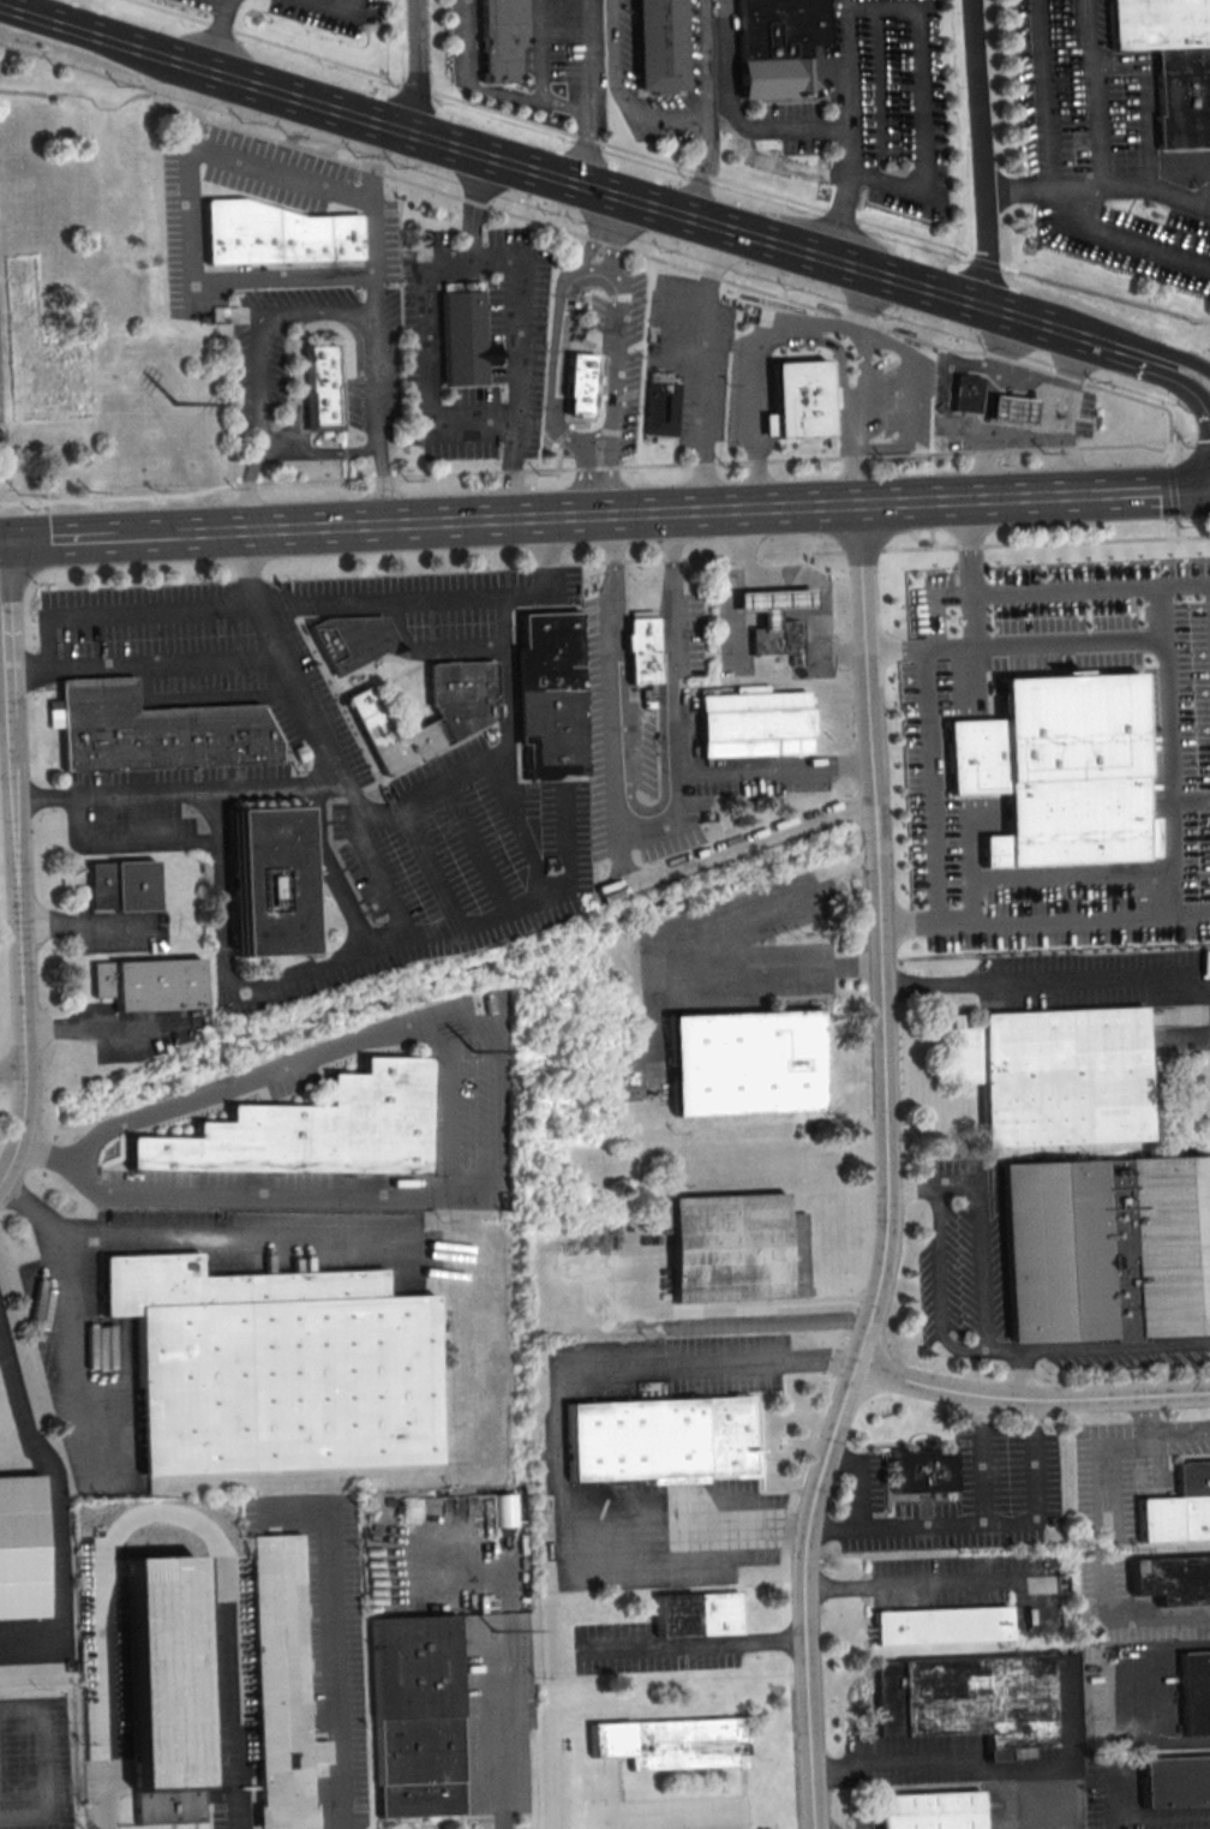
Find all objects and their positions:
road: (214, 0)
road: (343, 6)
parking lot: (328, 12)
building: (1161, 24)
road: (214, 34)
road: (101, 35)
building: (498, 38)
parking lot: (696, 41)
building: (657, 46)
building: (777, 47)
road: (538, 49)
road: (703, 58)
road: (415, 67)
road: (487, 86)
parking lot: (841, 90)
road: (586, 92)
road: (1098, 92)
road: (621, 95)
road: (1145, 100)
road: (193, 104)
road: (736, 113)
building: (1185, 119)
road: (846, 130)
road: (924, 138)
parking lot: (1096, 143)
road: (983, 154)
road: (370, 162)
road: (672, 162)
road: (701, 167)
road: (265, 168)
road: (1098, 185)
road: (1049, 191)
road: (471, 207)
road: (654, 208)
road: (594, 232)
road: (617, 233)
building: (275, 235)
parking lot: (184, 241)
road: (436, 259)
road: (712, 265)
road: (601, 267)
road: (706, 274)
road: (283, 277)
building: (461, 285)
road: (861, 303)
road: (349, 311)
road: (754, 337)
road: (667, 340)
building: (465, 341)
parking lot: (693, 351)
road: (898, 351)
parking lot: (525, 352)
parking lot: (622, 352)
road: (1161, 352)
parking lot: (259, 363)
road: (839, 365)
road: (1166, 373)
building: (581, 384)
building: (968, 391)
building: (322, 394)
building: (797, 401)
power tower: (170, 404)
road: (988, 404)
building: (663, 406)
building: (1014, 407)
road: (1065, 412)
parking lot: (1083, 412)
road: (321, 452)
road: (585, 467)
road: (510, 470)
road: (702, 476)
road: (852, 476)
road: (583, 478)
road: (755, 480)
road: (245, 489)
road: (701, 512)
road: (163, 536)
road: (71, 539)
road: (4, 543)
traffic signals: (8, 543)
road: (879, 549)
road: (546, 552)
road: (970, 572)
road: (808, 575)
building: (777, 602)
road: (10, 605)
road: (157, 609)
road: (1163, 614)
road: (927, 615)
building: (781, 638)
building: (353, 641)
road: (673, 642)
road: (1068, 642)
road: (456, 646)
building: (642, 658)
road: (31, 668)
road: (6, 687)
road: (505, 695)
road: (200, 697)
building: (551, 697)
building: (463, 719)
building: (755, 724)
building: (156, 731)
road: (316, 736)
parking lot: (331, 763)
building: (1056, 775)
road: (1168, 777)
road: (432, 784)
road: (127, 795)
road: (50, 799)
road: (520, 819)
road: (621, 820)
road: (477, 844)
road: (427, 863)
road: (333, 871)
road: (1053, 880)
building: (268, 881)
building: (122, 886)
road: (220, 898)
road: (1046, 918)
road: (84, 924)
road: (450, 926)
road: (22, 928)
road: (774, 966)
road: (1047, 979)
building: (148, 985)
power tower: (472, 1032)
building: (744, 1063)
road: (12, 1069)
building: (1056, 1075)
road: (450, 1125)
building: (311, 1129)
road: (892, 1171)
road: (181, 1238)
building: (726, 1248)
building: (1108, 1249)
road: (939, 1285)
road: (724, 1305)
road: (987, 1332)
road: (86, 1352)
building: (275, 1369)
road: (1020, 1373)
road: (1031, 1397)
road: (1161, 1433)
road: (561, 1434)
building: (660, 1442)
building: (922, 1471)
road: (857, 1501)
road: (160, 1507)
road: (50, 1508)
building: (504, 1510)
building: (1178, 1510)
road: (918, 1523)
road: (1005, 1526)
building: (20, 1548)
building: (1172, 1580)
road: (944, 1582)
power tower: (493, 1602)
road: (1130, 1614)
building: (697, 1615)
building: (941, 1627)
road: (703, 1643)
road: (505, 1649)
road: (335, 1670)
building: (283, 1685)
building: (167, 1688)
road: (1142, 1692)
building: (1194, 1692)
building: (970, 1701)
building: (415, 1717)
building: (673, 1744)
road: (43, 1764)
road: (995, 1768)
building: (1175, 1781)
parking lot: (664, 1811)
building: (930, 1811)
road: (1145, 1815)
road: (709, 1827)

